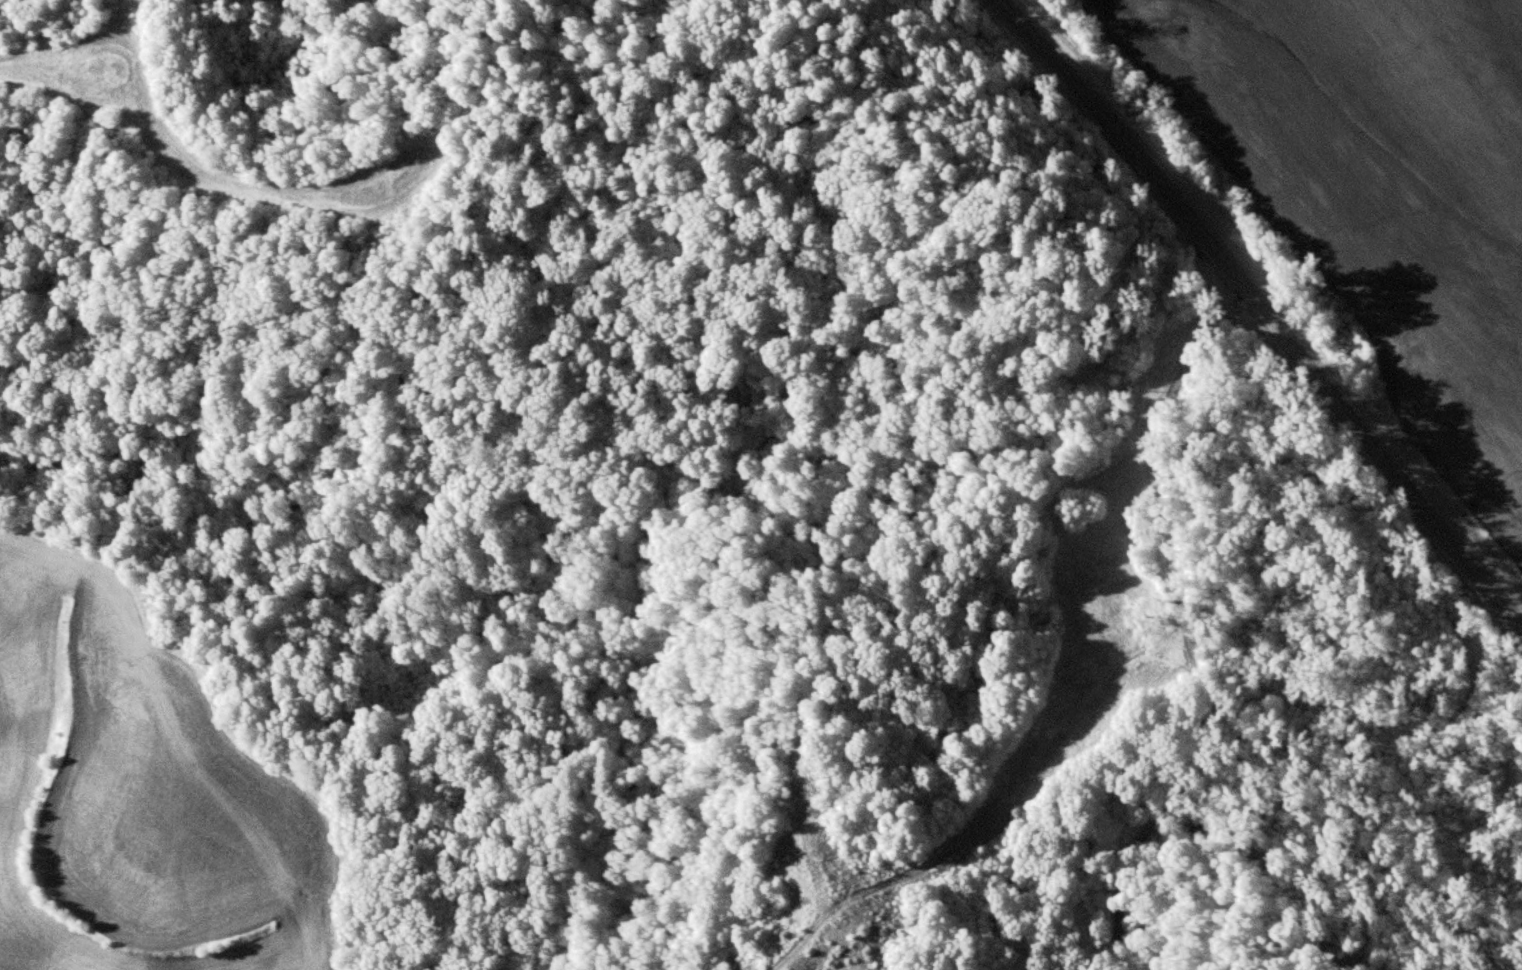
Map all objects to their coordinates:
road: (1263, 309)

